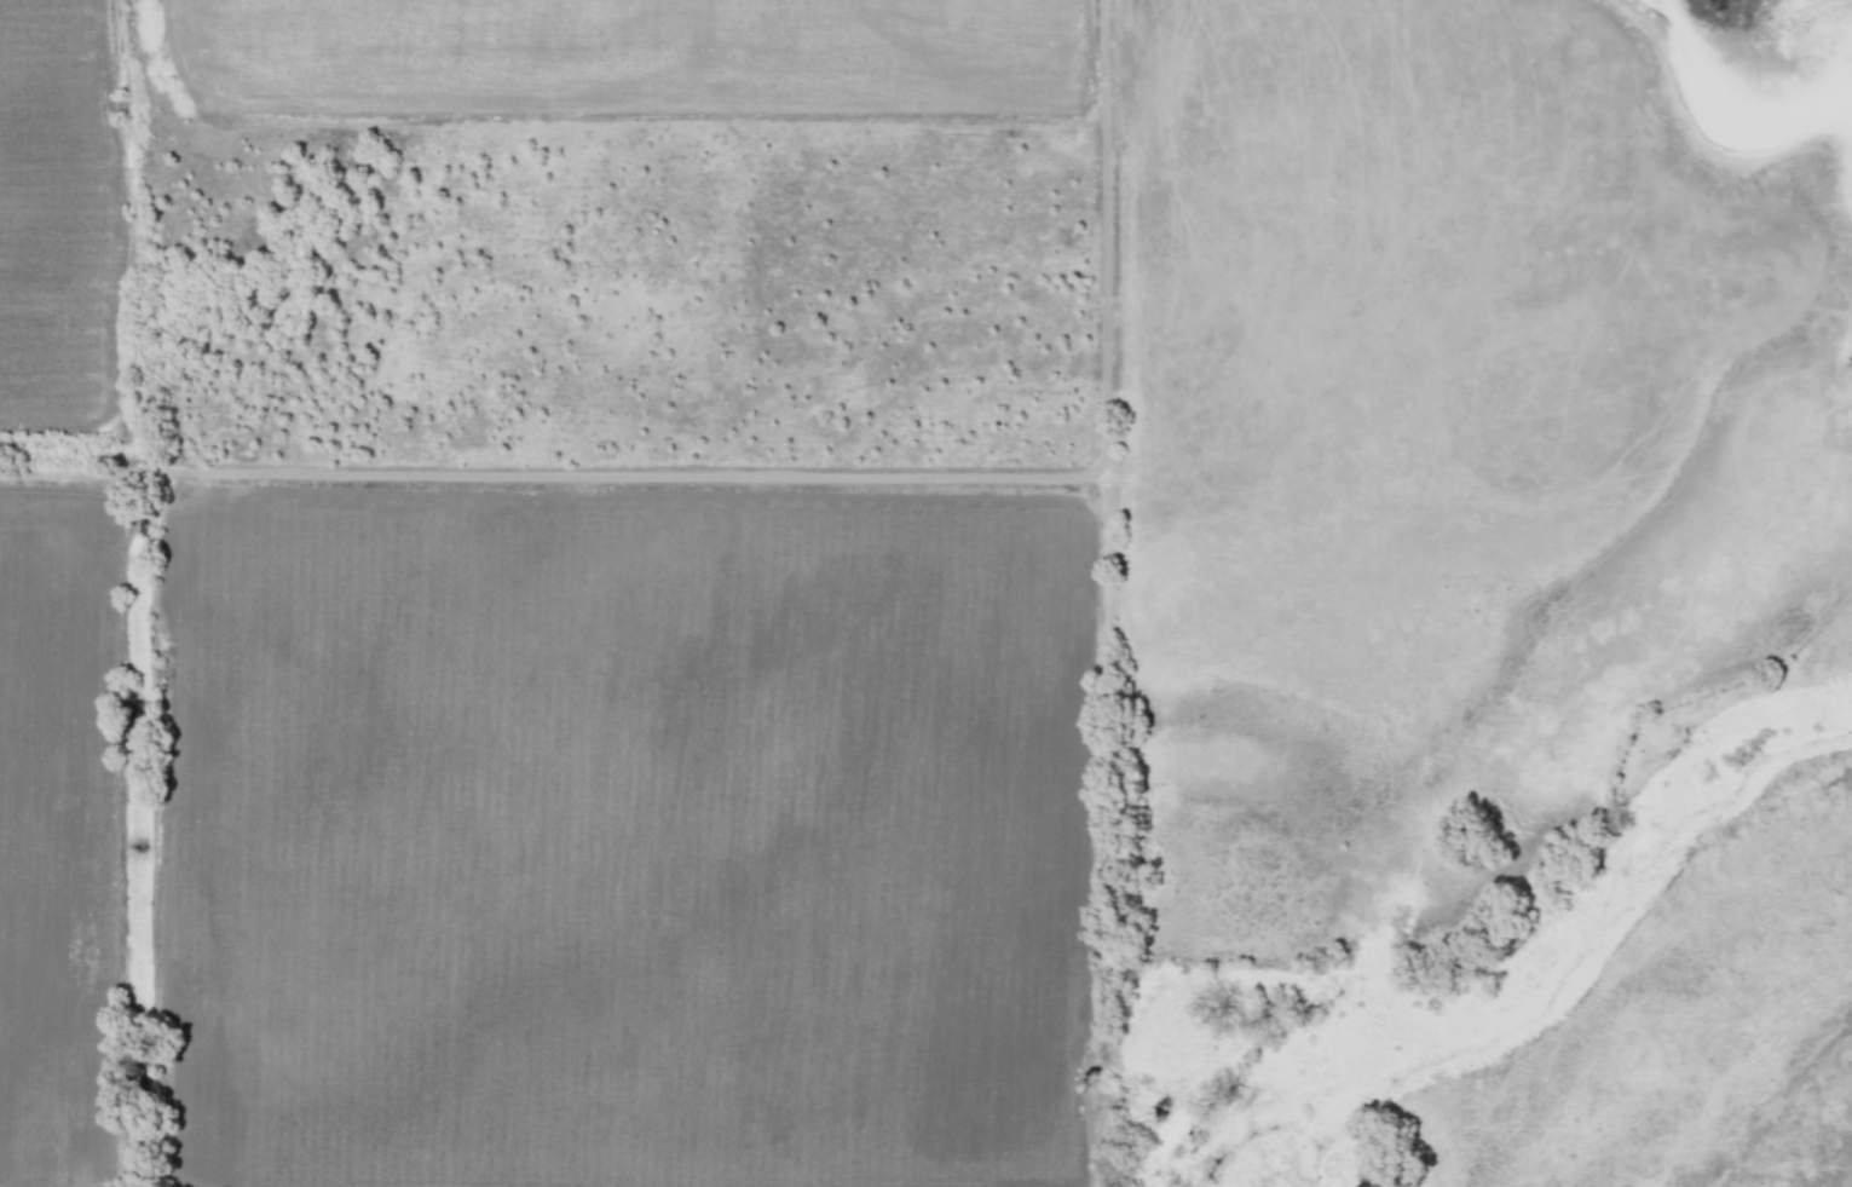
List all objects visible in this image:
crop: (835, 555)

